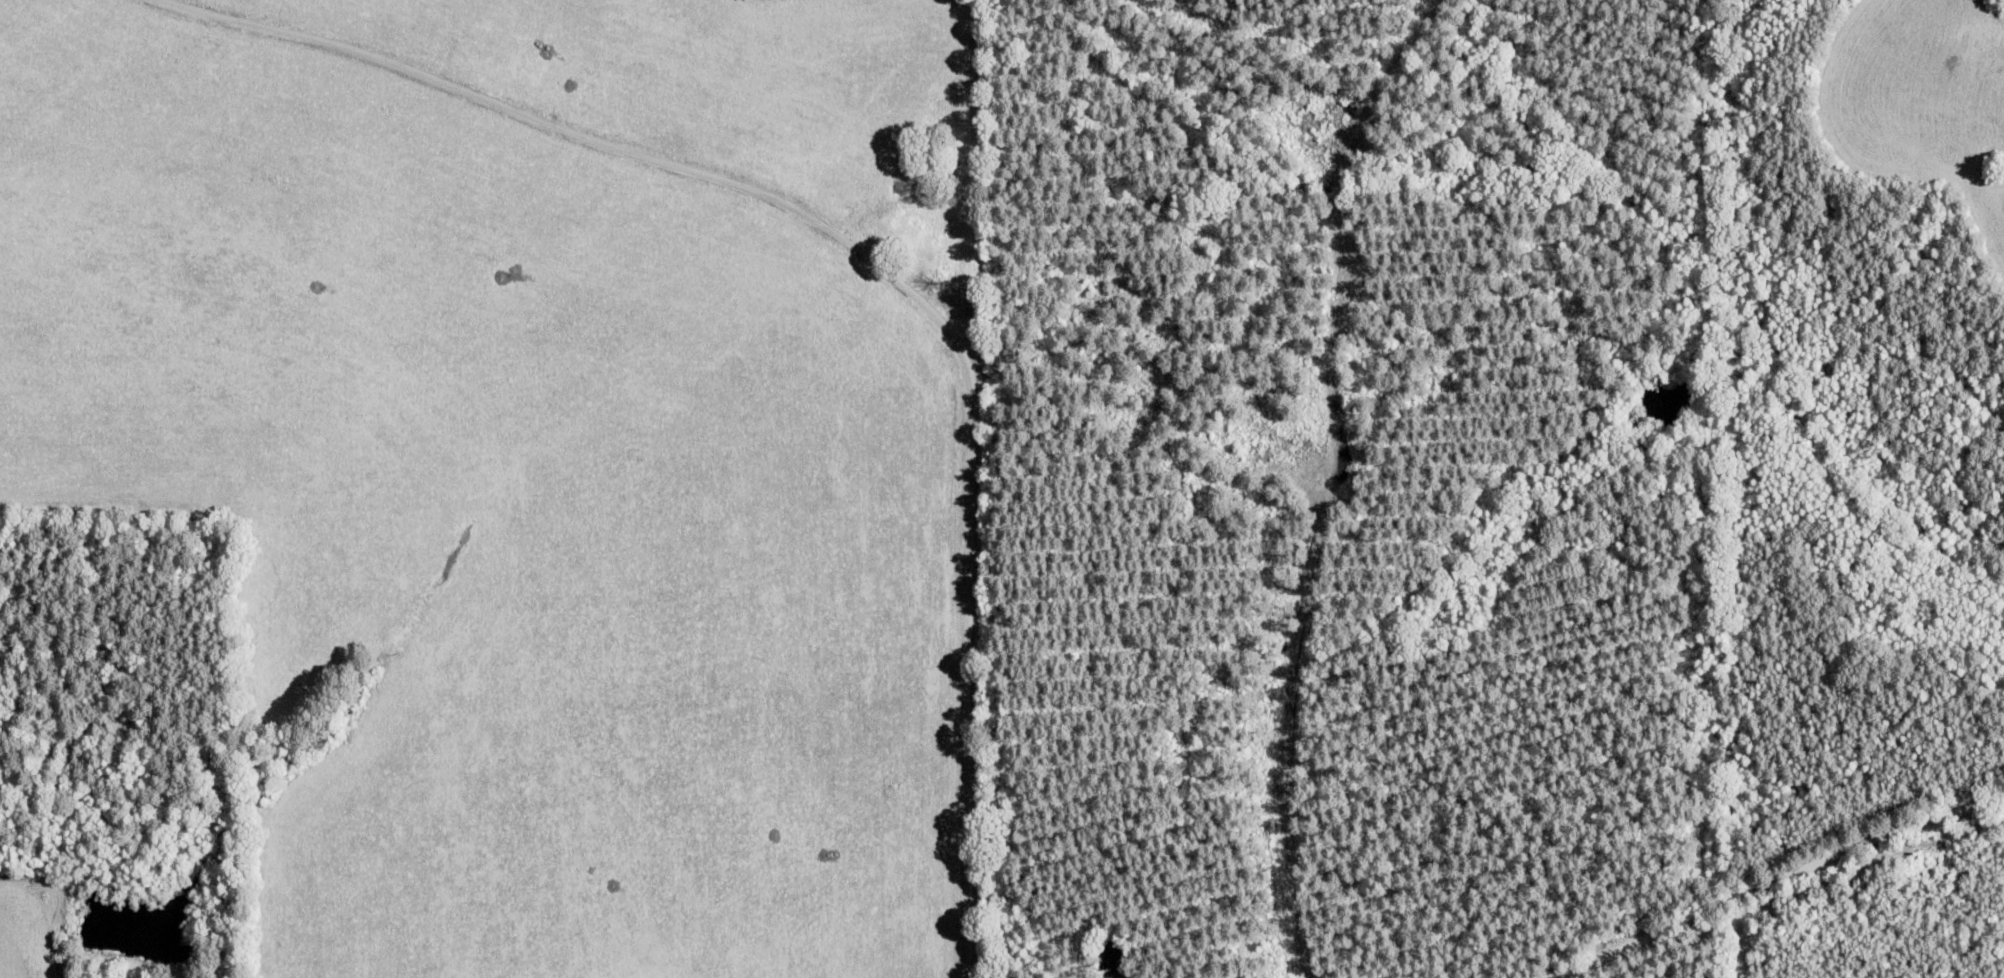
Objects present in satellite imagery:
road: (1769, 880)

